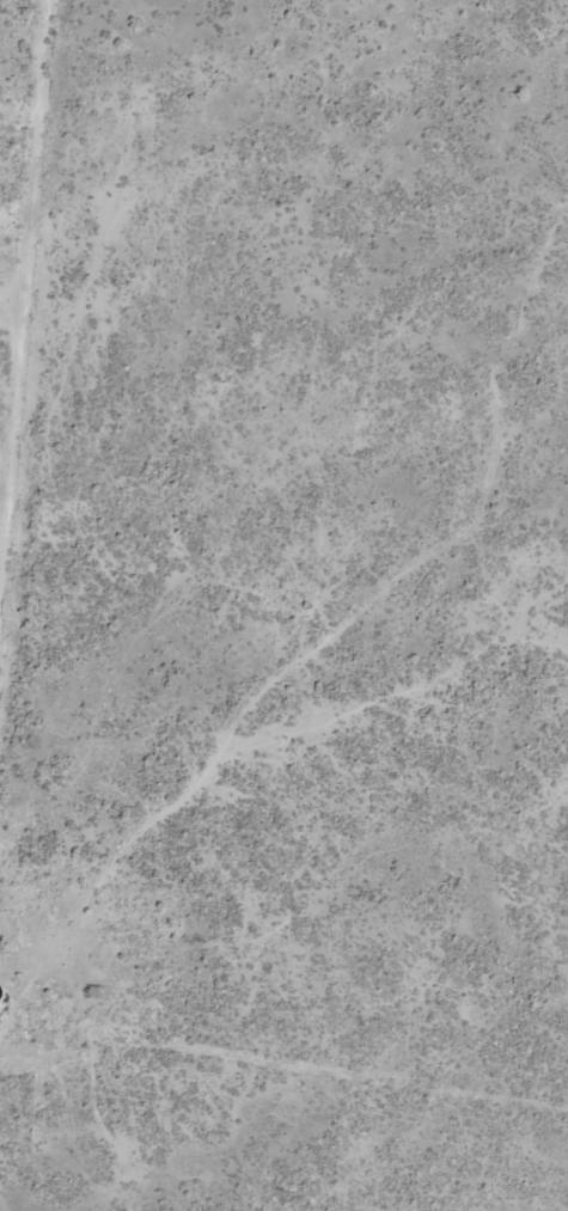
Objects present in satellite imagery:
road: (359, 619)

